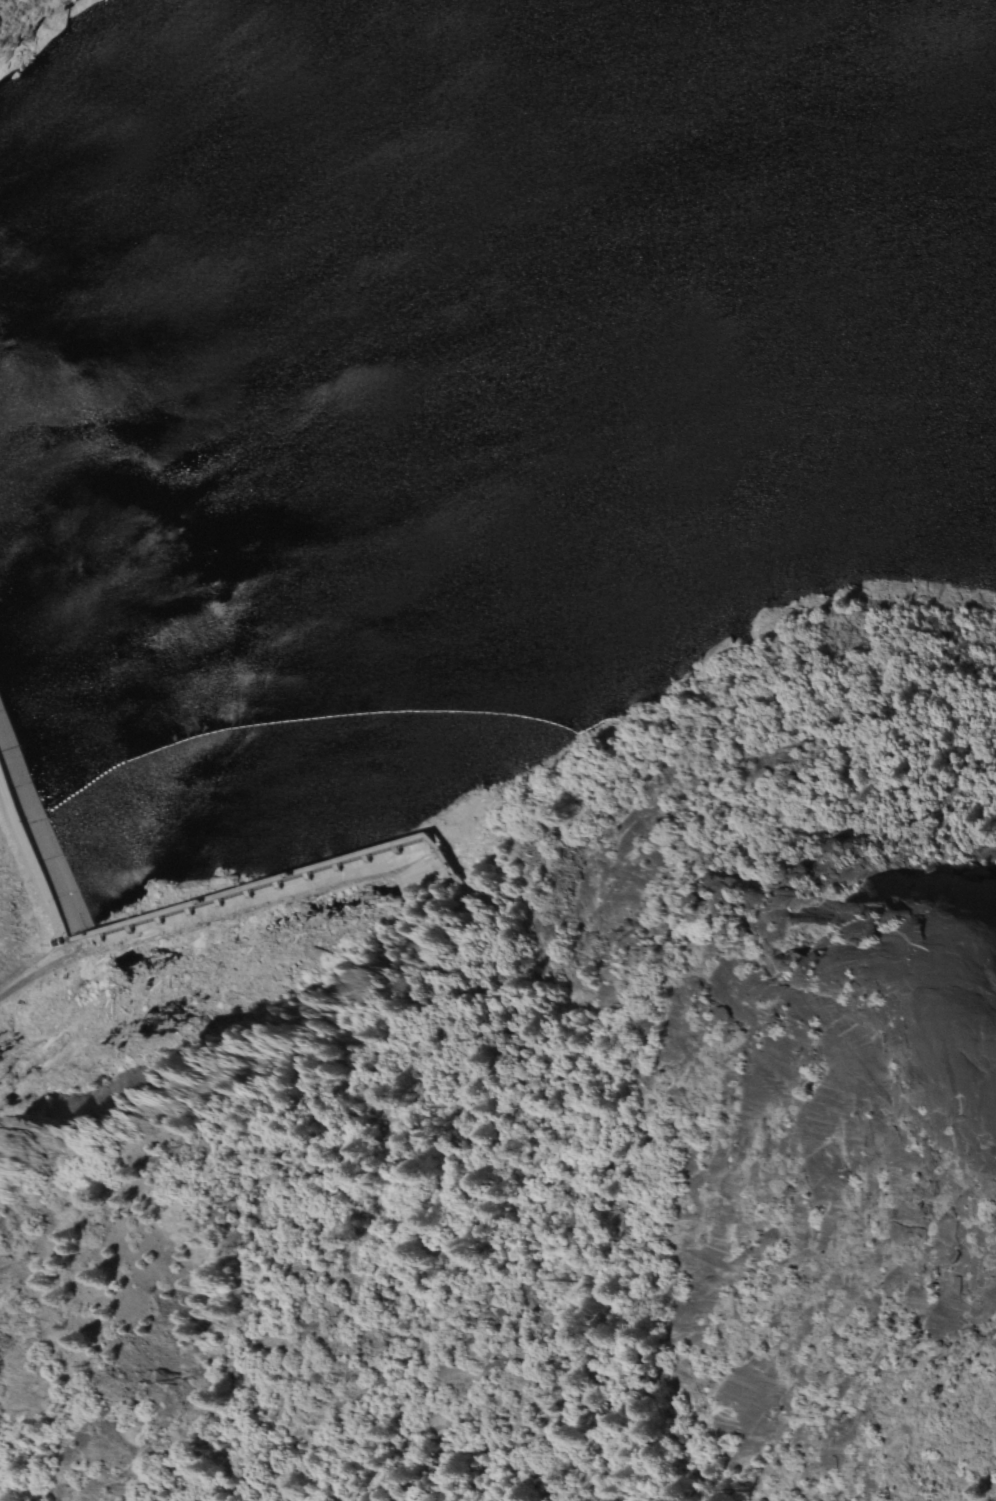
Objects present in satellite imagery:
dam: (25, 865)

